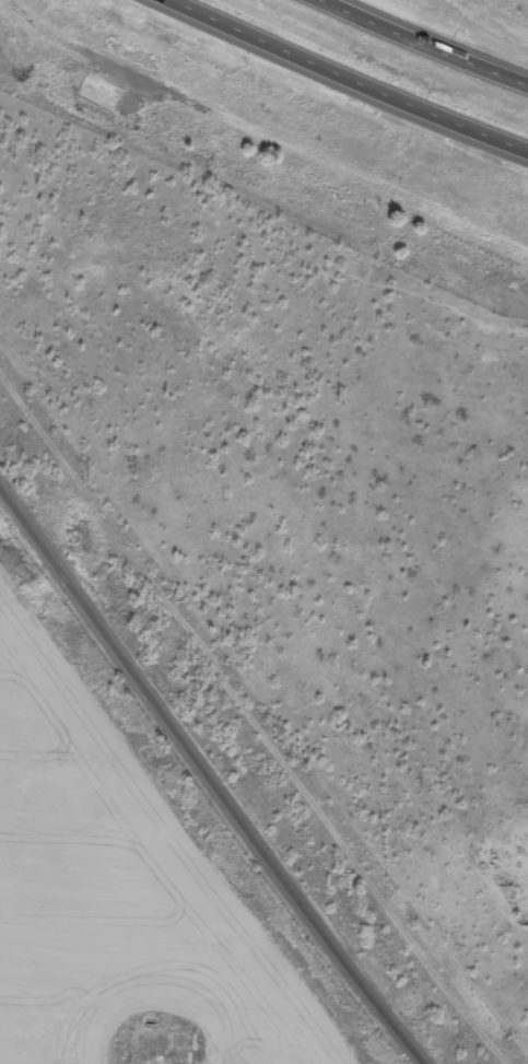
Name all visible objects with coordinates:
road: (426, 44)
road: (341, 81)
road: (248, 722)
railway: (208, 777)

